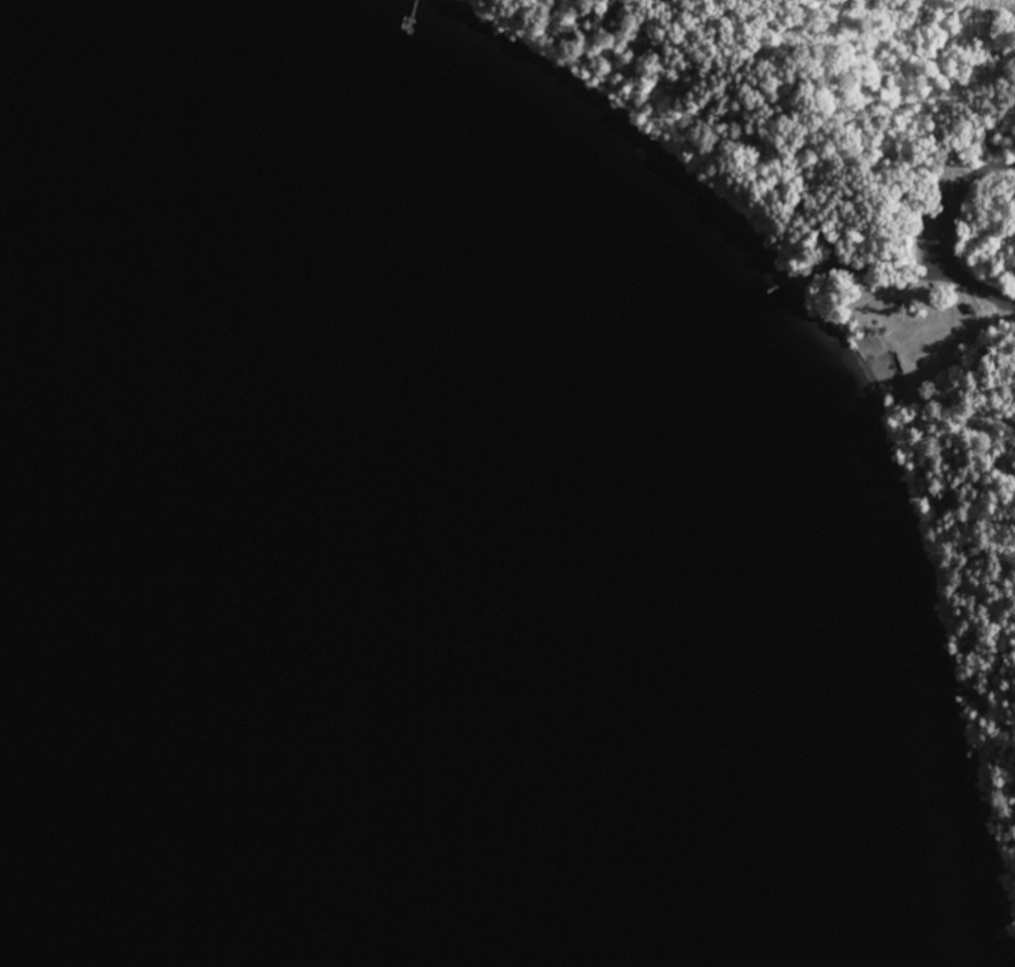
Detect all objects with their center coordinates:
park: (860, 288)

